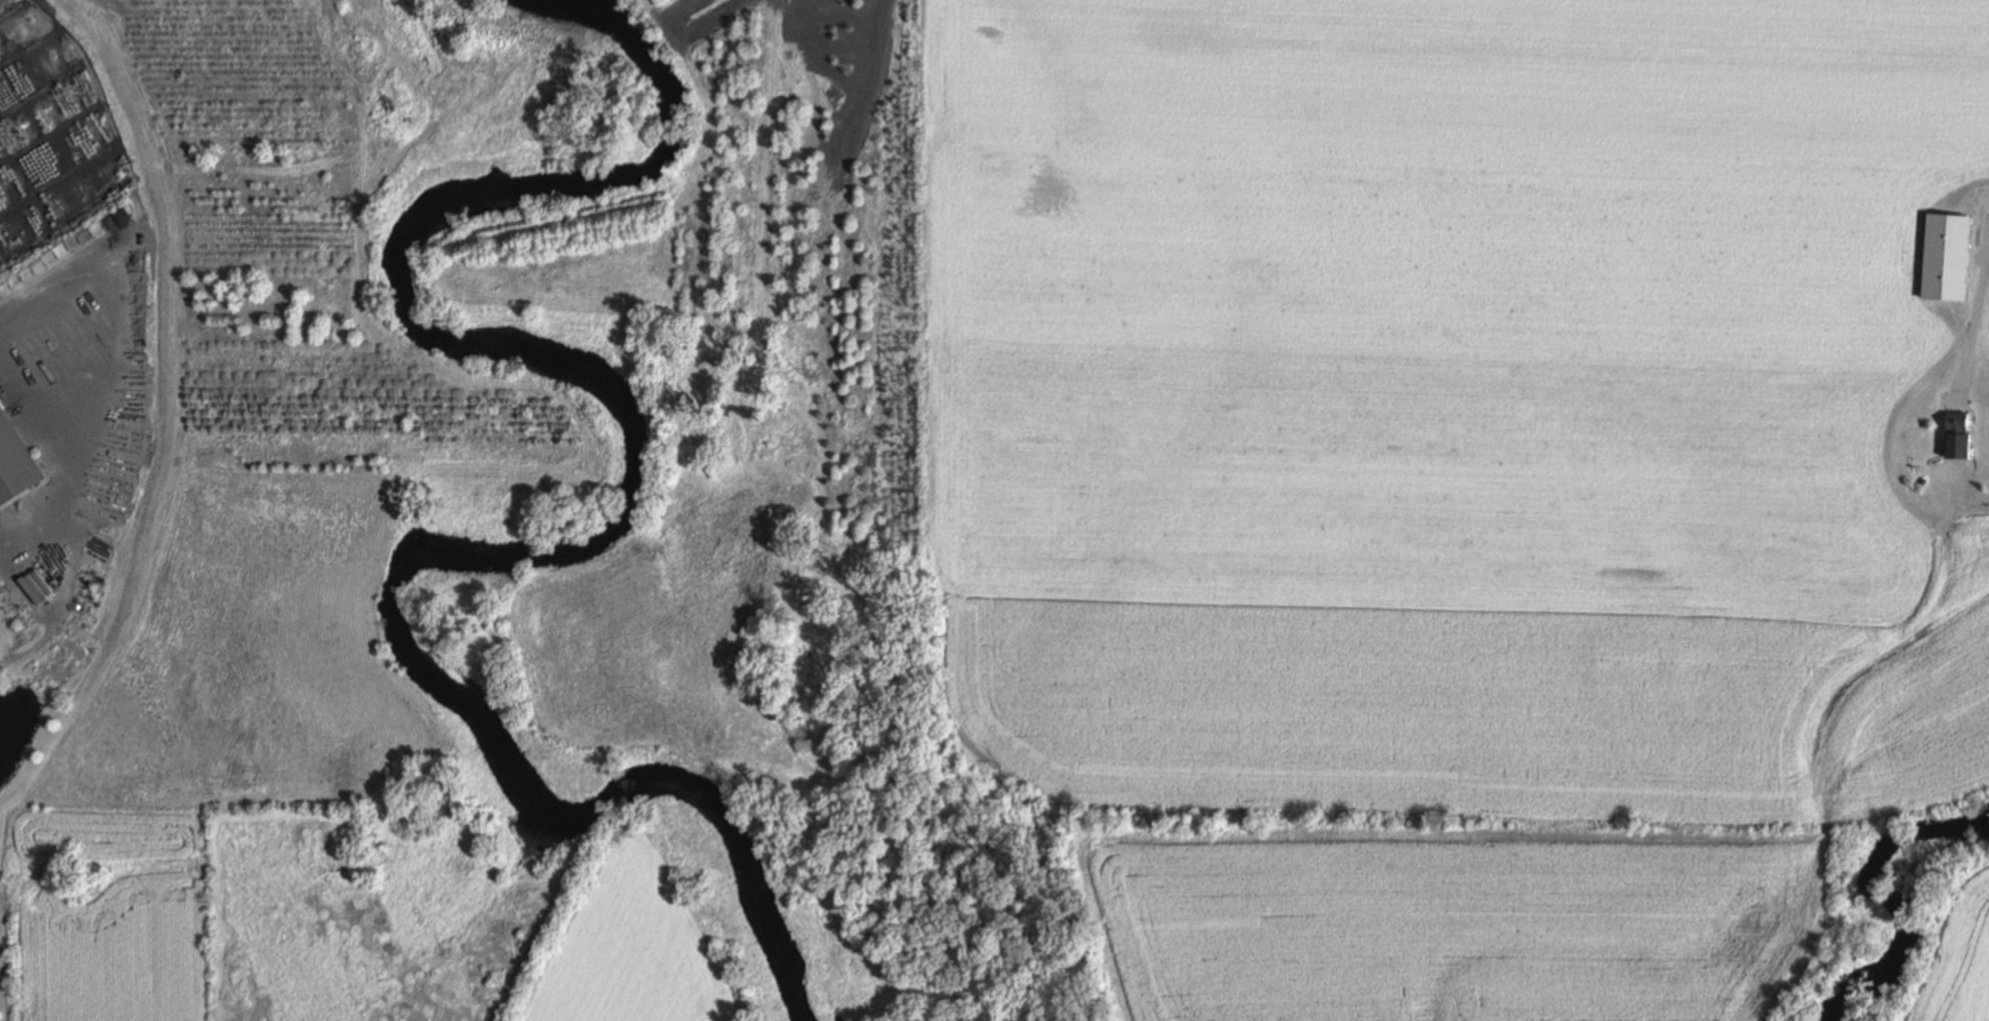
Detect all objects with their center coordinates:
road: (763, 4)
road: (13, 8)
road: (734, 14)
road: (776, 17)
road: (29, 48)
road: (42, 89)
road: (395, 97)
building: (49, 124)
road: (50, 133)
road: (119, 154)
road: (57, 177)
building: (1944, 256)
road: (1985, 260)
road: (1, 265)
road: (1974, 306)
road: (95, 368)
road: (163, 372)
crop: (1453, 403)
building: (1954, 435)
building: (16, 461)
road: (541, 468)
river: (598, 536)
crop: (667, 638)
crop: (249, 660)
river: (1881, 899)
crop: (109, 910)
crop: (1444, 924)
crop: (629, 948)
crop: (1957, 965)

